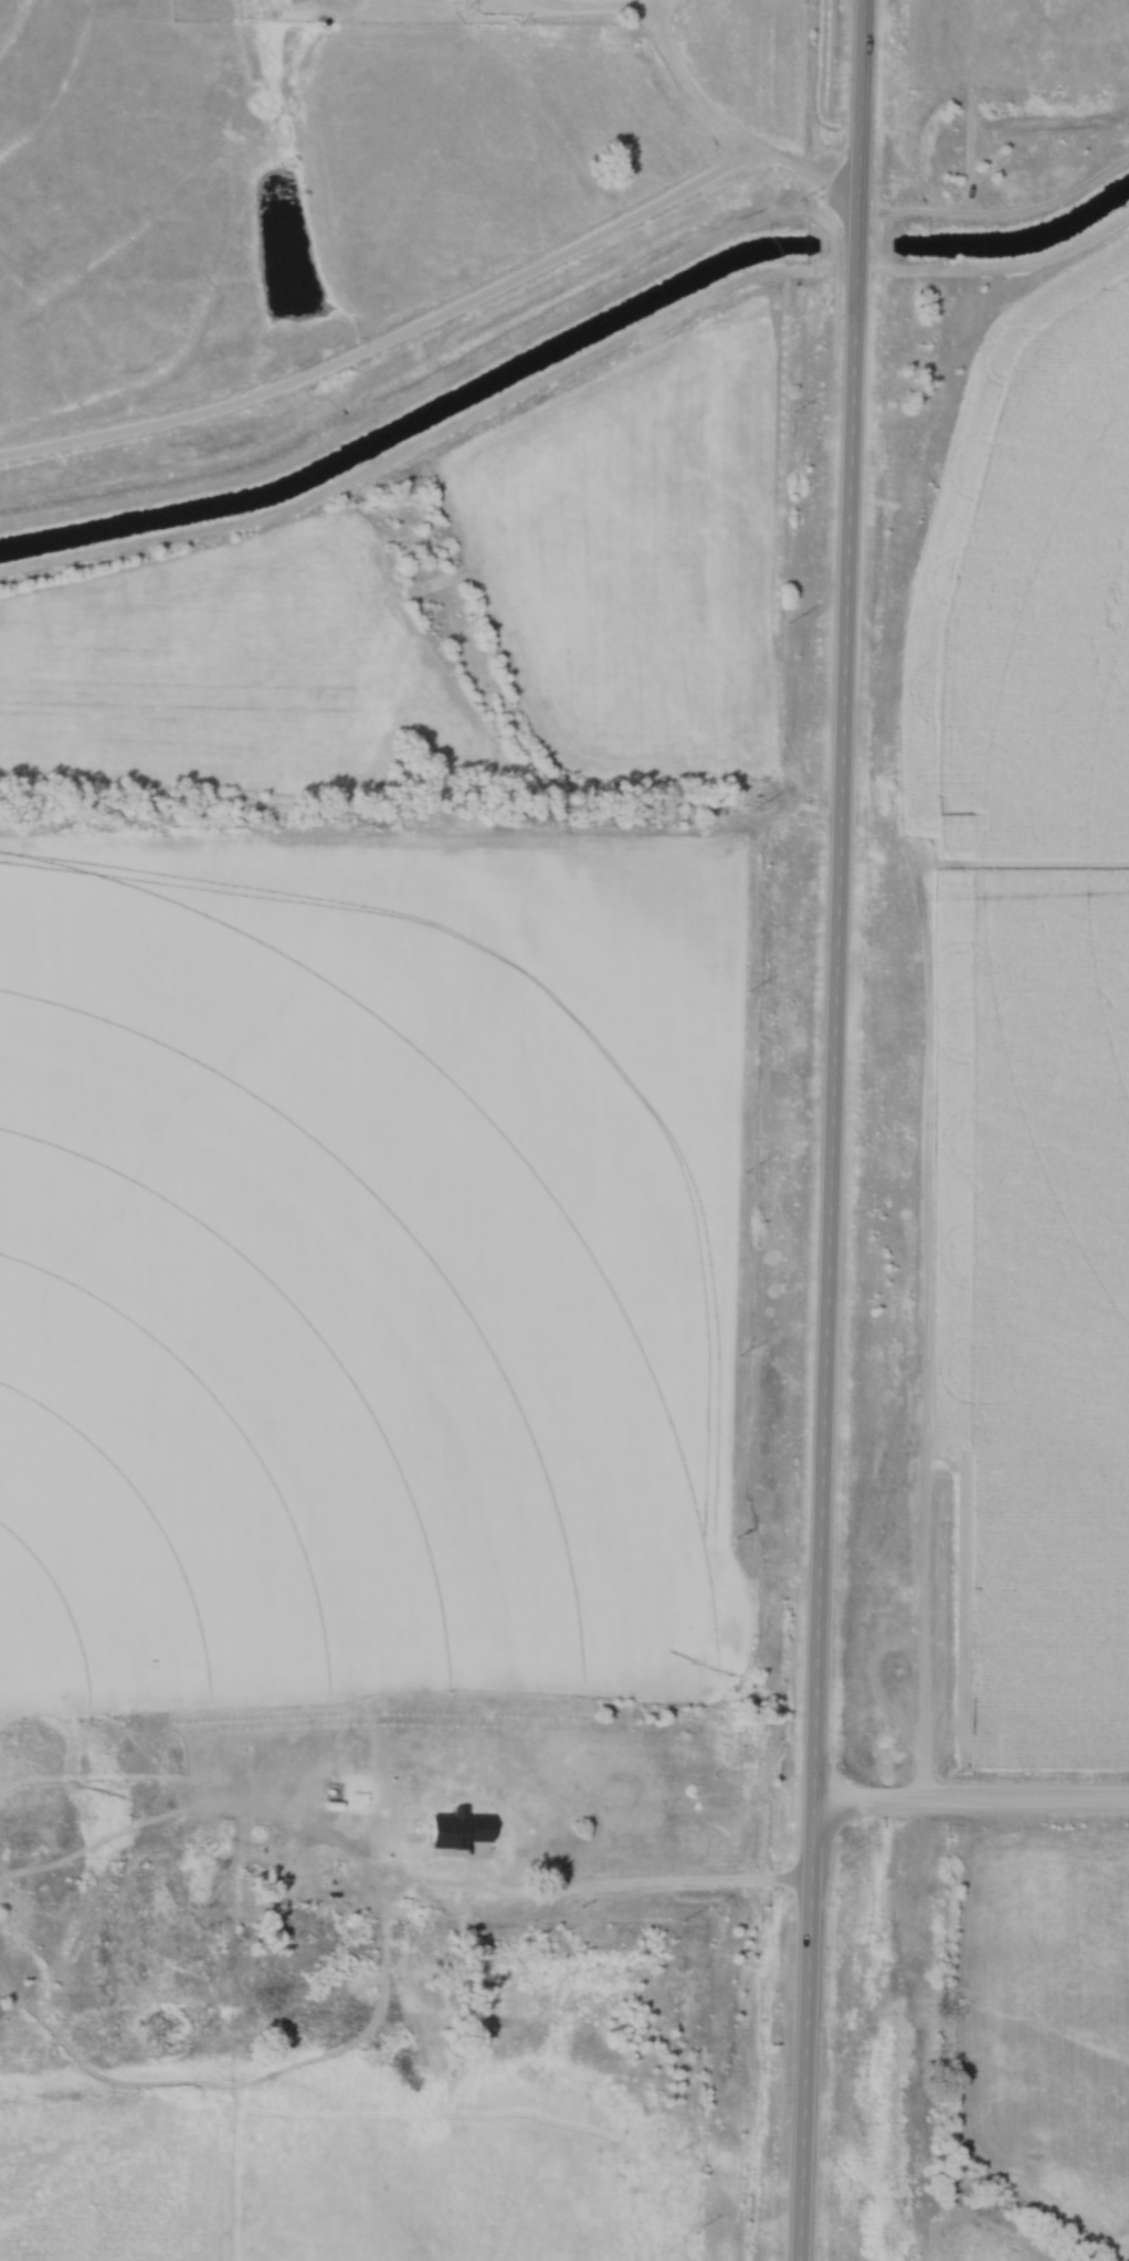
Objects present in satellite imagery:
road: (829, 1130)
road: (969, 1802)
building: (526, 1850)
building: (215, 1866)
building: (273, 1880)
road: (644, 1884)
building: (305, 1927)

